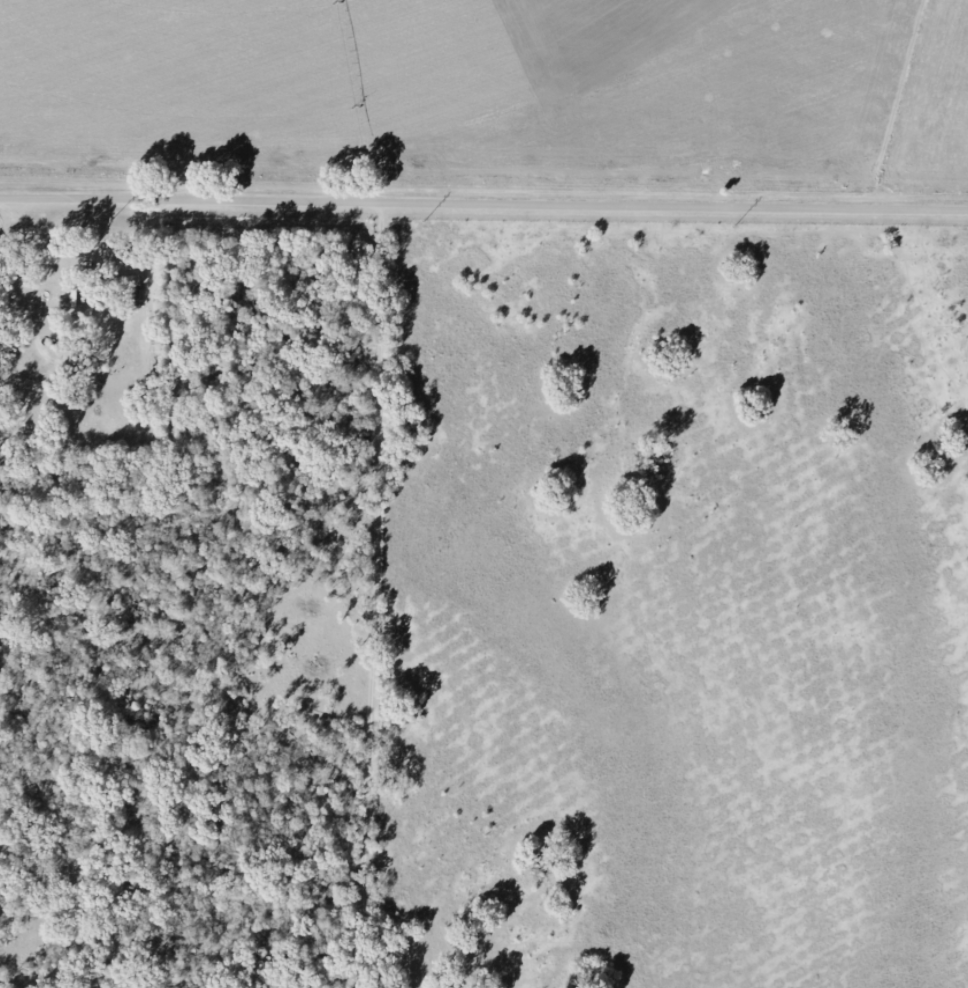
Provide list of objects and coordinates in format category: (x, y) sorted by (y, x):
road: (484, 202)
power tower: (114, 218)
power tower: (426, 221)
power tower: (737, 224)

